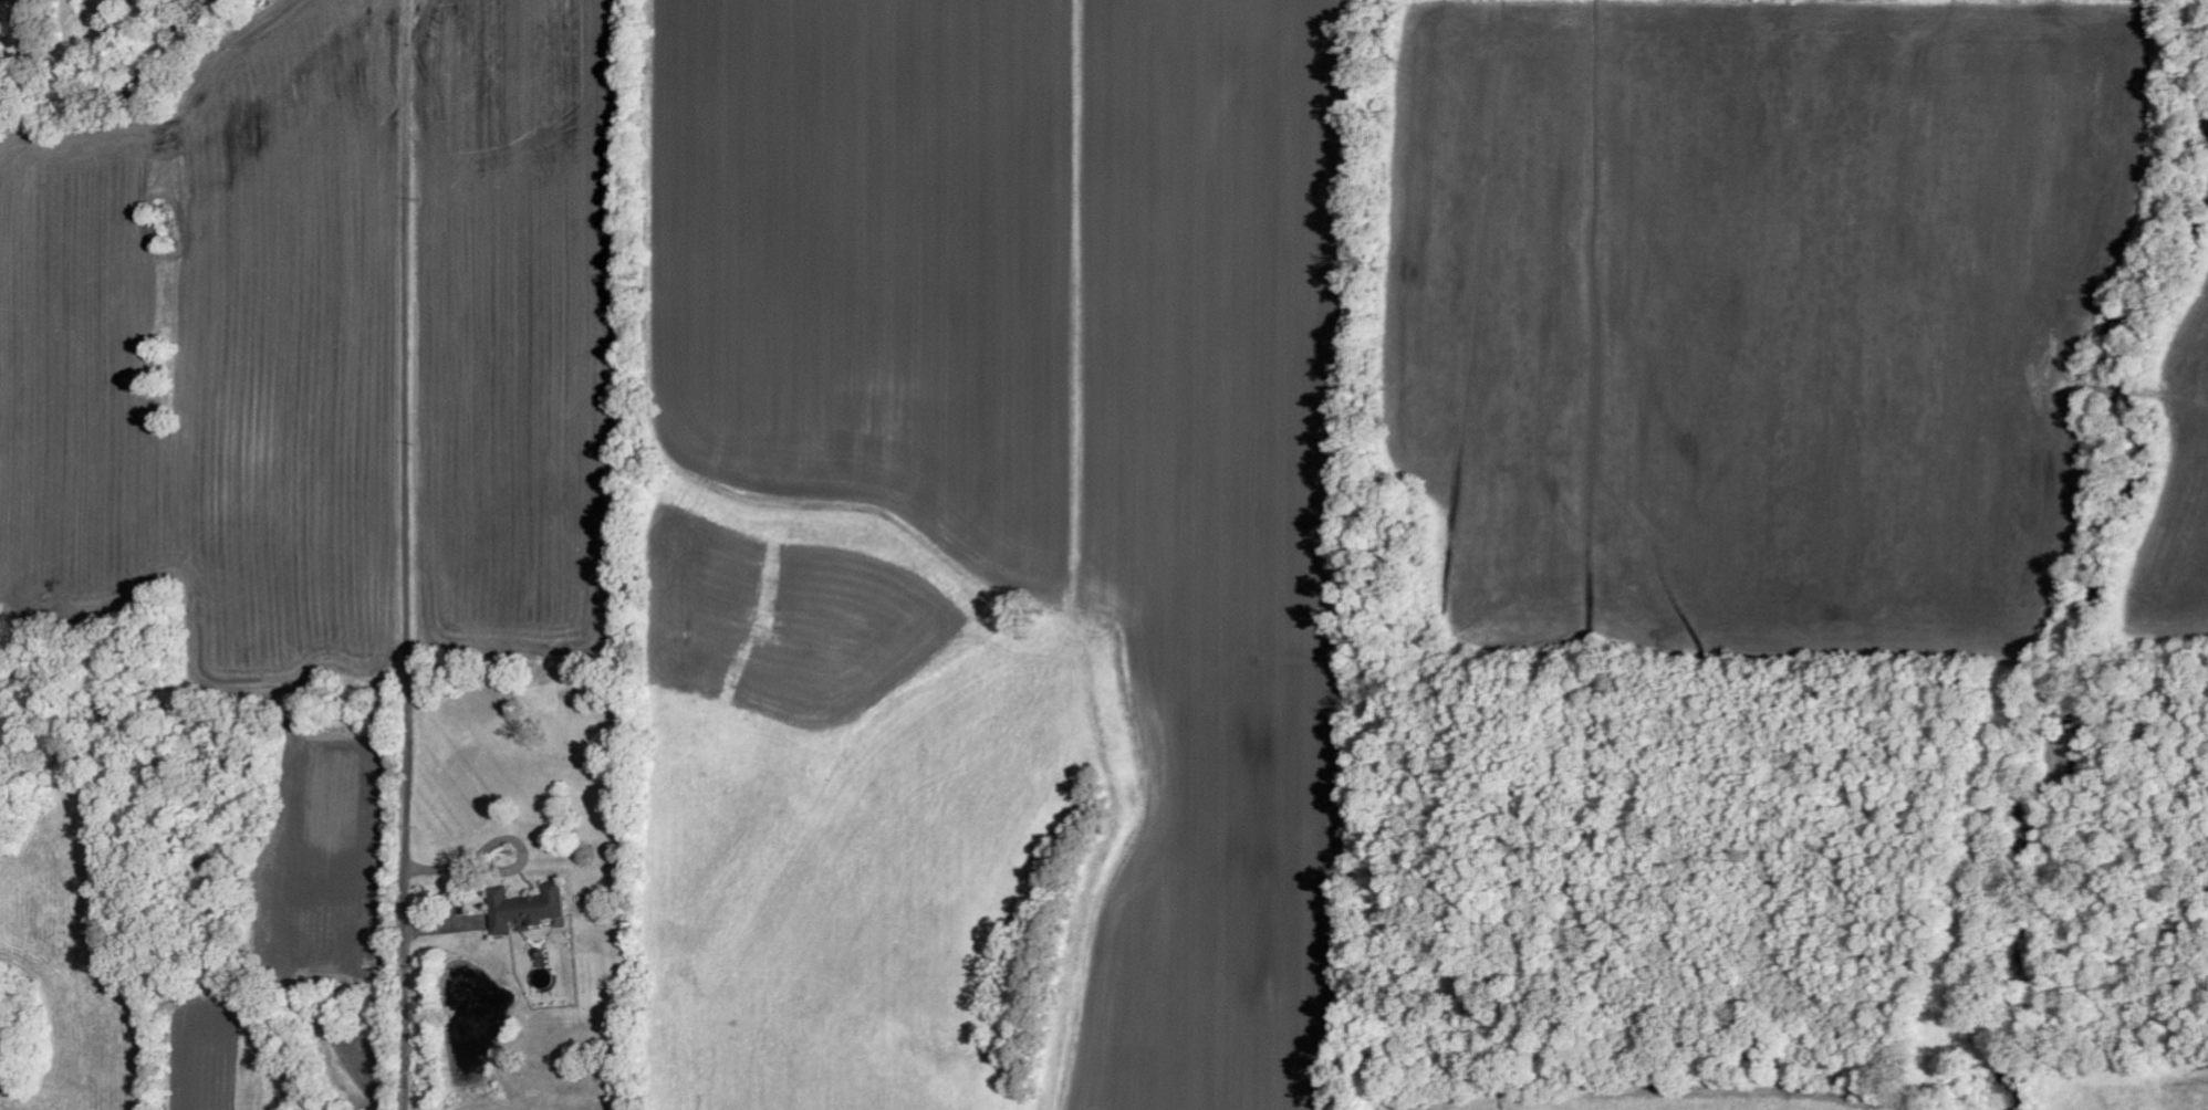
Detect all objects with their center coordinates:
road: (406, 554)
building: (532, 907)

